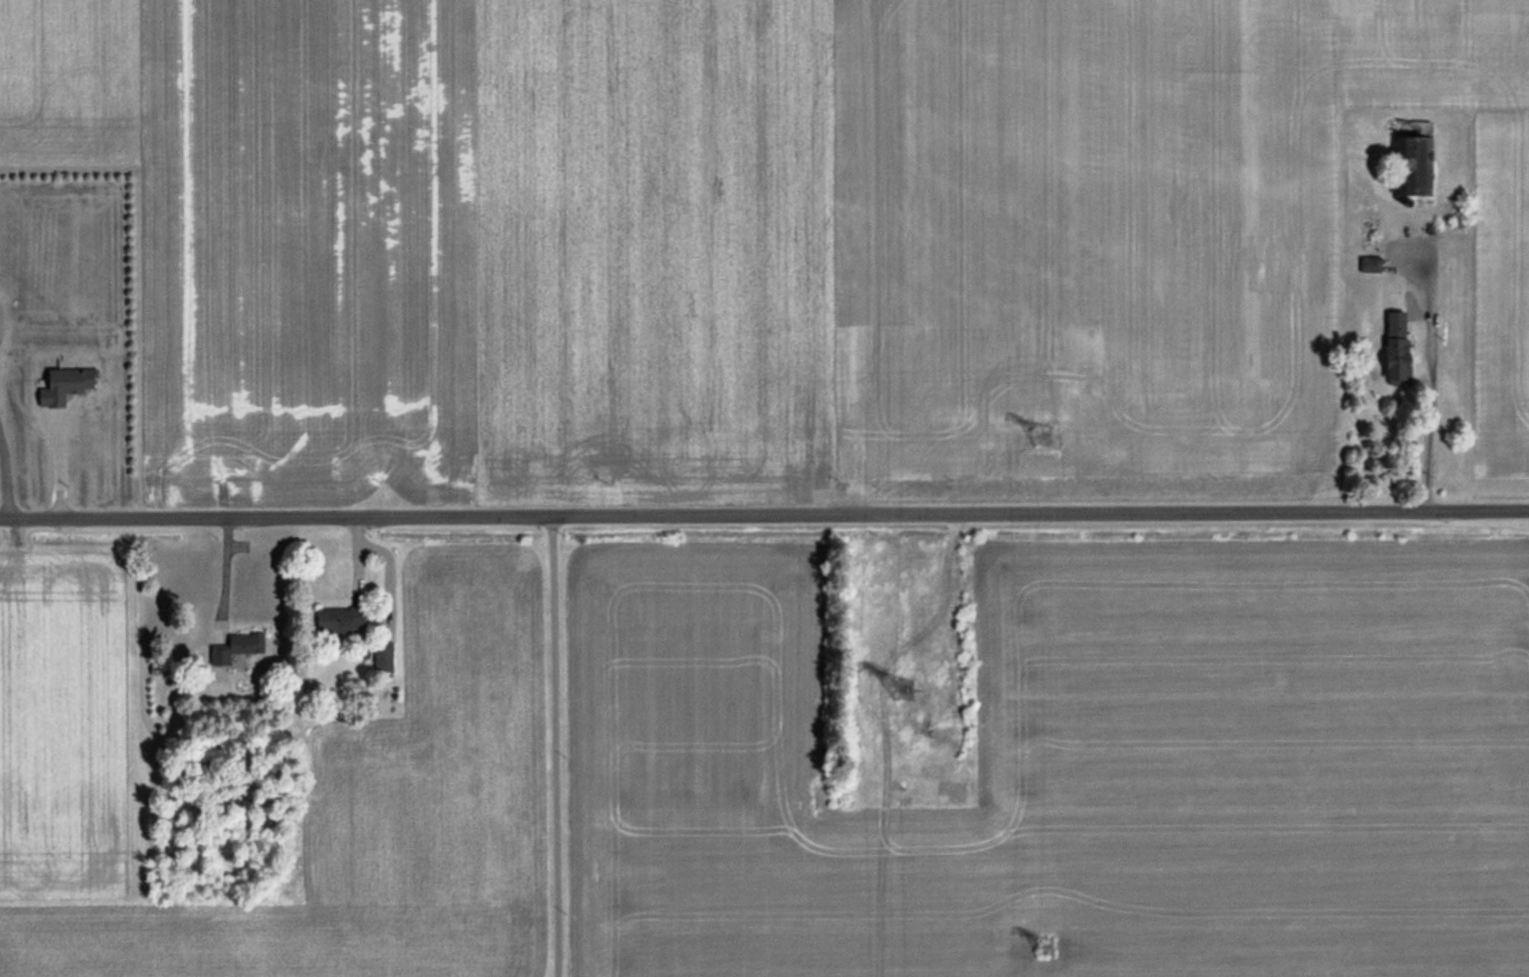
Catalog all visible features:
building: (1410, 162)
road: (383, 321)
building: (1393, 337)
building: (63, 383)
road: (1430, 387)
power tower: (1040, 432)
road: (57, 464)
road: (3, 478)
road: (764, 514)
road: (224, 577)
building: (331, 619)
building: (233, 640)
building: (381, 656)
power tower: (900, 689)
road: (555, 746)
power tower: (1038, 948)

